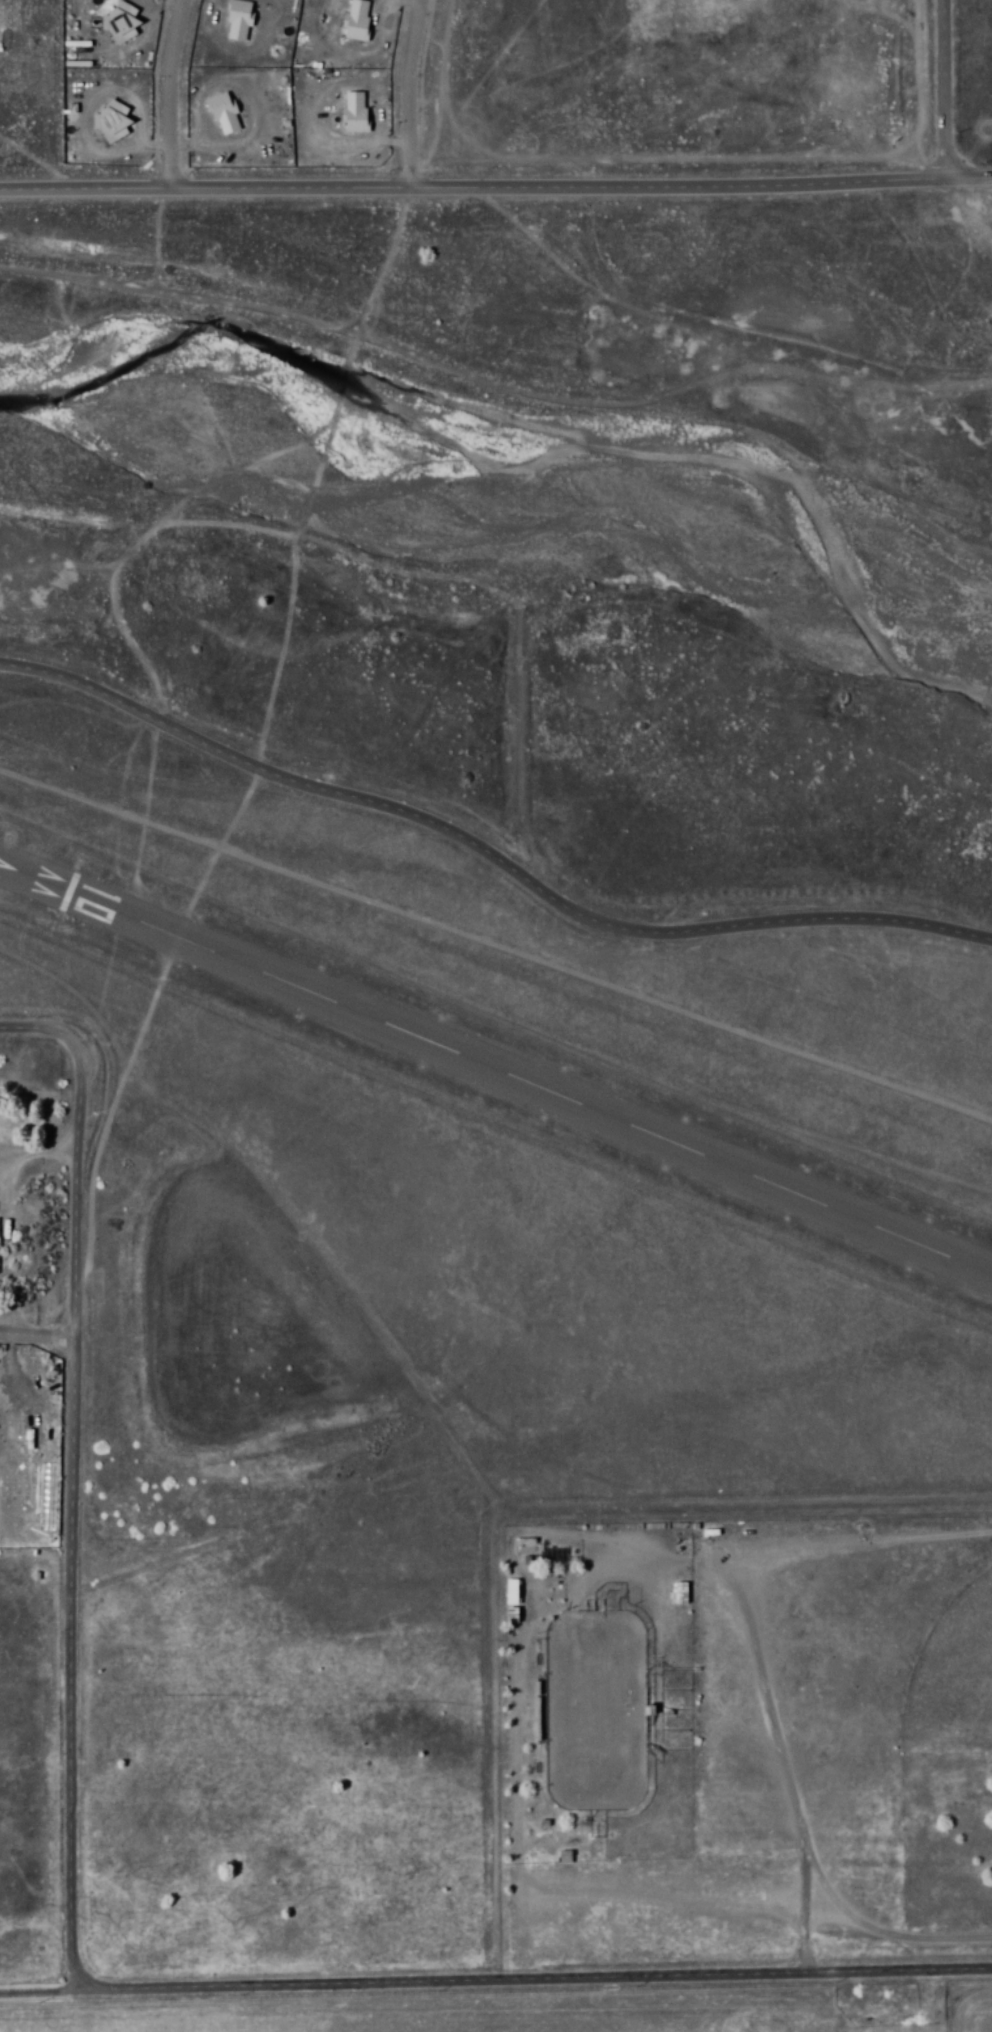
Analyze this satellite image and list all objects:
building: (240, 19)
building: (121, 21)
building: (357, 21)
road: (951, 88)
road: (406, 90)
road: (167, 91)
building: (224, 112)
building: (355, 113)
building: (112, 121)
road: (495, 180)
road: (489, 849)
airport runway: (496, 1070)
airport: (439, 1304)
road: (79, 1474)
building: (526, 1545)
building: (513, 1592)
building: (681, 1594)
park: (953, 1678)
building: (565, 1857)
road: (535, 1981)
road: (39, 1991)

